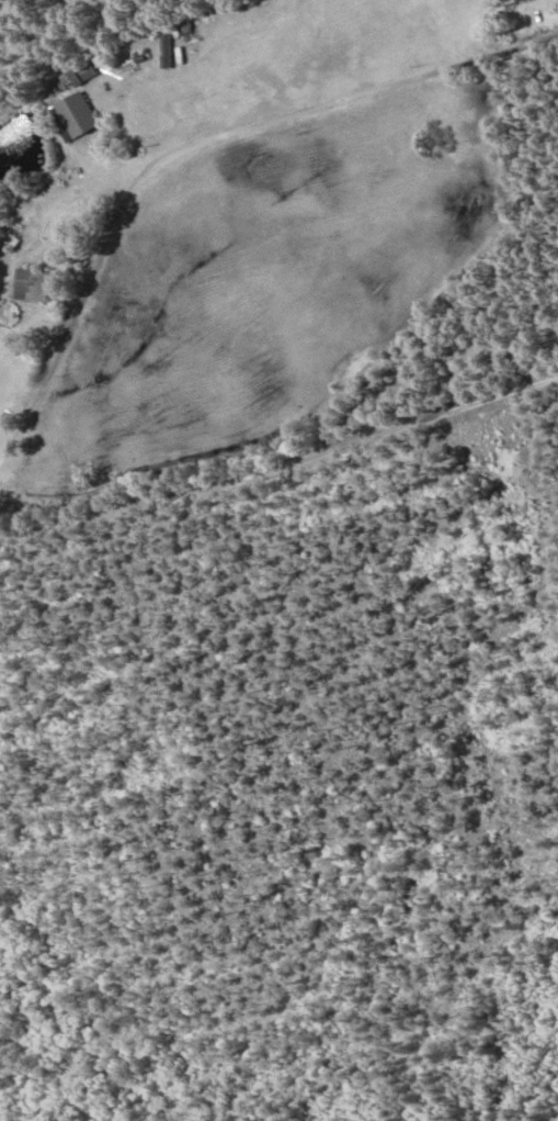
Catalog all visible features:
building: (86, 72)
building: (79, 116)
road: (194, 144)
building: (34, 284)
road: (282, 468)

